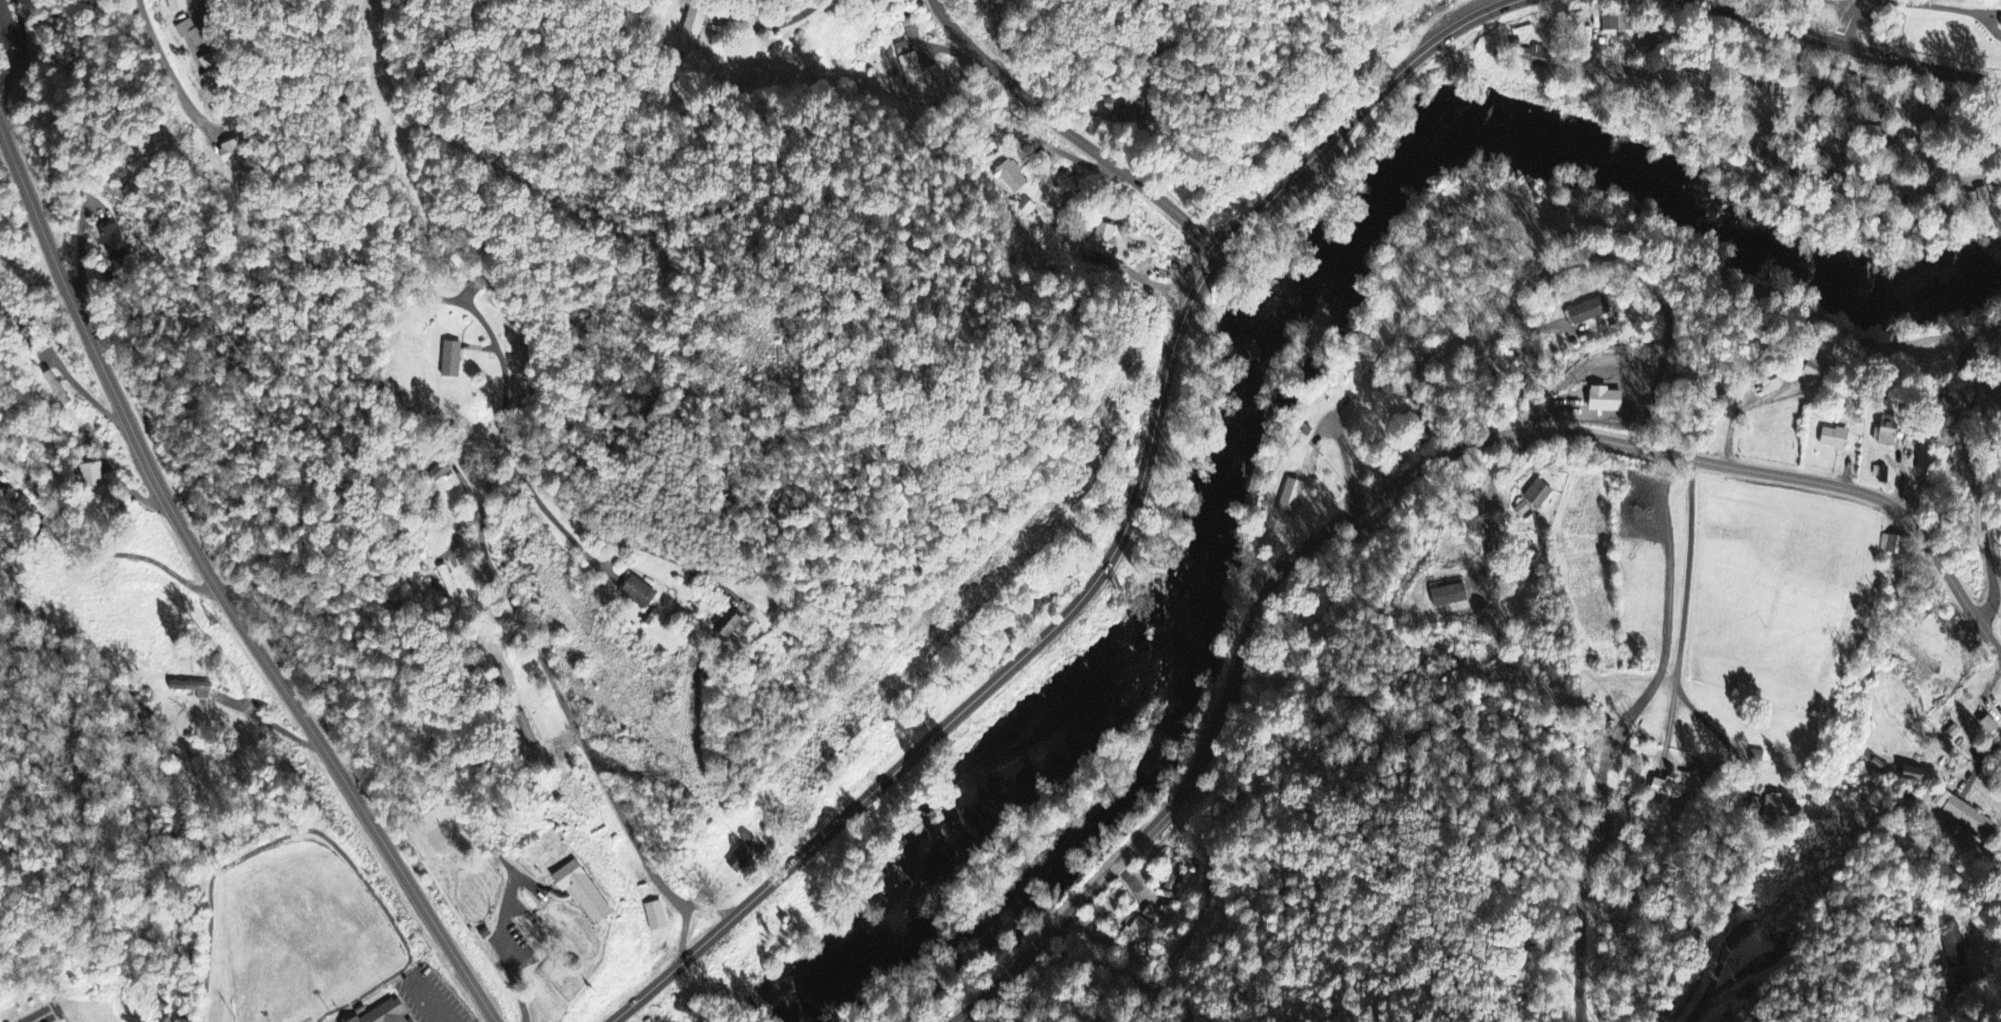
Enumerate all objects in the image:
building: (177, 6)
road: (208, 6)
road: (1852, 23)
building: (693, 24)
building: (1615, 25)
building: (193, 34)
road: (1839, 48)
building: (1541, 58)
building: (912, 71)
building: (1668, 71)
building: (213, 72)
road: (181, 76)
building: (1806, 82)
building: (1853, 90)
building: (1137, 112)
building: (1821, 112)
river: (1620, 122)
road: (1073, 131)
building: (234, 158)
building: (1992, 196)
building: (888, 223)
building: (1104, 240)
building: (111, 244)
building: (1863, 342)
building: (451, 361)
road: (500, 363)
building: (1819, 371)
building: (1888, 433)
building: (1836, 440)
river: (1243, 443)
building: (92, 478)
road: (1390, 488)
building: (1539, 496)
building: (1291, 498)
building: (1524, 512)
road: (557, 523)
road: (604, 531)
road: (1121, 538)
building: (1893, 547)
road: (94, 552)
road: (1684, 566)
building: (444, 577)
road: (216, 587)
building: (640, 594)
building: (1450, 597)
building: (728, 625)
building: (1609, 663)
road: (564, 703)
river: (1042, 712)
building: (1991, 728)
building: (1912, 776)
building: (1667, 790)
building: (1779, 807)
building: (1963, 814)
building: (744, 855)
building: (1187, 863)
building: (1170, 882)
building: (585, 893)
building: (1149, 915)
building: (655, 918)
building: (1134, 933)
river: (858, 934)
building: (1955, 953)
building: (388, 1014)

